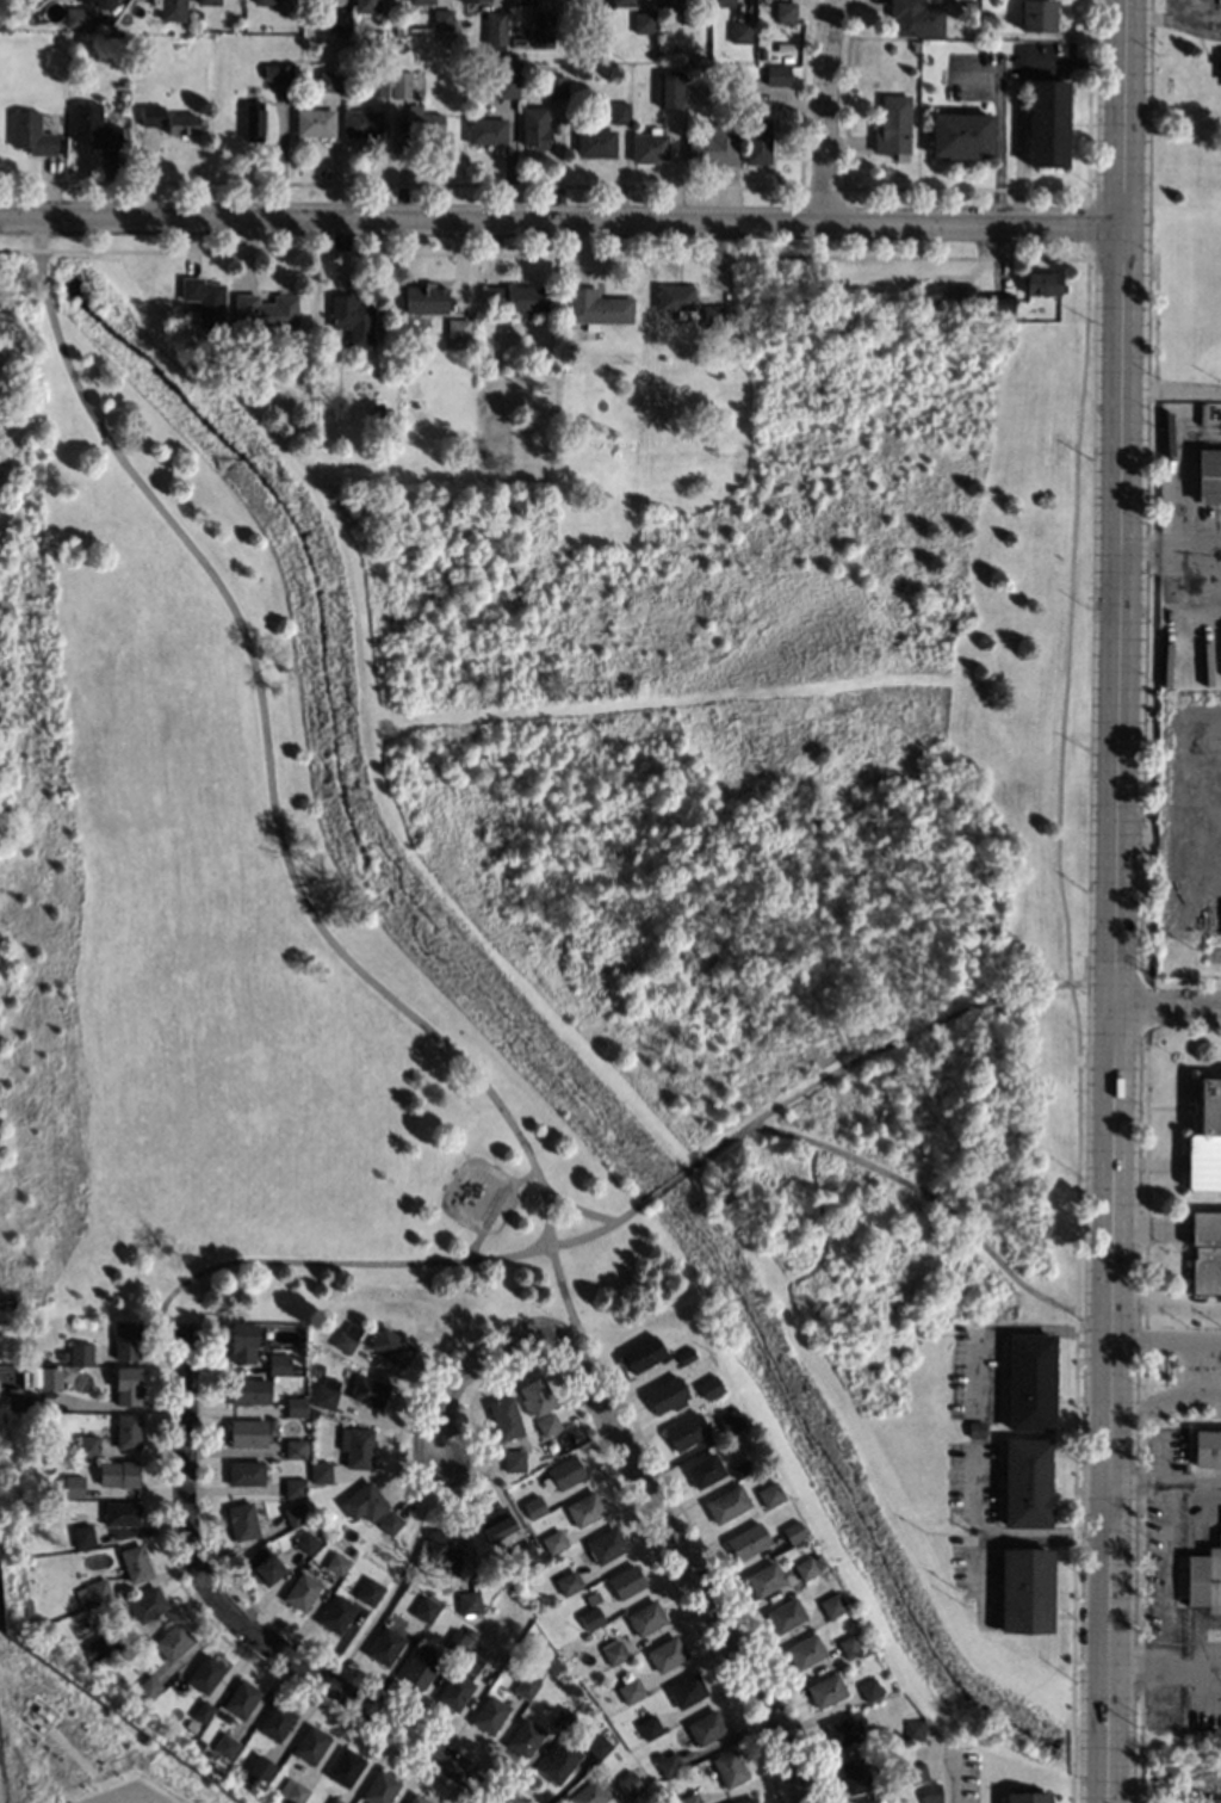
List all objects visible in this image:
building: (318, 0)
building: (475, 0)
building: (82, 1)
building: (207, 1)
building: (265, 1)
building: (420, 1)
building: (101, 2)
building: (521, 2)
building: (621, 2)
building: (669, 2)
building: (720, 2)
building: (968, 2)
building: (365, 5)
building: (172, 10)
building: (785, 11)
building: (197, 14)
building: (985, 14)
building: (1036, 14)
building: (75, 17)
building: (337, 18)
building: (441, 18)
building: (694, 18)
building: (916, 18)
building: (642, 21)
building: (595, 24)
building: (495, 26)
building: (397, 30)
building: (541, 30)
building: (739, 32)
building: (517, 42)
building: (915, 45)
building: (401, 47)
building: (762, 54)
building: (926, 58)
building: (278, 72)
building: (777, 75)
building: (329, 80)
building: (401, 84)
building: (506, 85)
building: (377, 86)
building: (554, 87)
building: (671, 89)
road: (822, 110)
building: (620, 112)
building: (253, 113)
building: (150, 115)
building: (424, 121)
building: (315, 122)
building: (182, 123)
building: (362, 123)
building: (1046, 123)
building: (93, 125)
building: (892, 126)
building: (534, 128)
building: (486, 130)
building: (31, 132)
road: (999, 132)
building: (960, 135)
building: (757, 141)
building: (595, 143)
building: (649, 146)
building: (713, 146)
road: (494, 184)
road: (822, 186)
road: (965, 186)
road: (560, 220)
road: (1086, 223)
building: (1043, 282)
building: (946, 292)
building: (515, 296)
building: (674, 296)
building: (424, 298)
building: (205, 301)
building: (1000, 302)
building: (596, 307)
building: (265, 310)
building: (711, 316)
building: (352, 319)
building: (457, 329)
building: (719, 350)
building: (401, 372)
road: (1170, 382)
building: (377, 409)
road: (1179, 474)
building: (1208, 475)
road: (1198, 547)
road: (1146, 548)
road: (1061, 723)
road: (273, 803)
park: (557, 851)
road: (1114, 901)
road: (1167, 1007)
road: (890, 1044)
building: (1205, 1138)
road: (667, 1184)
road: (455, 1185)
road: (921, 1188)
road: (579, 1208)
building: (1205, 1252)
road: (395, 1261)
road: (172, 1320)
road: (1008, 1327)
building: (185, 1329)
road: (1165, 1336)
building: (126, 1339)
building: (242, 1341)
building: (343, 1341)
building: (390, 1346)
building: (80, 1353)
building: (640, 1353)
building: (62, 1356)
building: (686, 1356)
building: (278, 1364)
building: (317, 1369)
building: (50, 1378)
building: (1030, 1381)
building: (126, 1384)
building: (709, 1387)
building: (248, 1390)
building: (368, 1391)
building: (326, 1393)
building: (665, 1395)
building: (535, 1396)
building: (13, 1397)
road: (1164, 1397)
building: (295, 1407)
building: (312, 1412)
building: (504, 1416)
building: (729, 1420)
building: (547, 1424)
building: (975, 1428)
building: (128, 1431)
building: (687, 1431)
building: (247, 1432)
building: (88, 1446)
building: (357, 1446)
building: (1207, 1447)
building: (295, 1449)
road: (185, 1456)
building: (513, 1461)
building: (739, 1468)
building: (704, 1469)
building: (320, 1471)
building: (118, 1472)
building: (244, 1472)
building: (563, 1472)
road: (1164, 1480)
road: (633, 1481)
building: (1025, 1481)
building: (74, 1487)
building: (295, 1488)
building: (770, 1495)
road: (1073, 1495)
building: (364, 1501)
building: (726, 1502)
building: (533, 1506)
building: (584, 1508)
building: (120, 1512)
building: (296, 1513)
building: (329, 1513)
building: (242, 1520)
building: (389, 1521)
building: (495, 1525)
building: (793, 1531)
building: (82, 1535)
building: (553, 1540)
building: (748, 1540)
building: (306, 1542)
building: (606, 1544)
building: (445, 1545)
road: (1004, 1545)
building: (525, 1554)
building: (135, 1562)
building: (336, 1563)
building: (265, 1566)
building: (805, 1567)
road: (399, 1575)
building: (764, 1577)
building: (1204, 1580)
building: (625, 1581)
building: (568, 1582)
building: (98, 1589)
building: (1024, 1589)
building: (302, 1591)
building: (370, 1591)
building: (467, 1603)
building: (148, 1604)
building: (832, 1604)
building: (424, 1609)
building: (336, 1613)
building: (401, 1614)
building: (785, 1614)
building: (590, 1617)
building: (645, 1617)
building: (458, 1638)
building: (173, 1641)
building: (385, 1645)
building: (849, 1645)
building: (100, 1647)
building: (612, 1650)
building: (805, 1650)
building: (665, 1653)
building: (86, 1660)
building: (421, 1665)
road: (1163, 1672)
building: (206, 1673)
building: (460, 1681)
building: (148, 1686)
building: (525, 1686)
building: (869, 1688)
building: (630, 1690)
building: (686, 1690)
building: (825, 1690)
road: (348, 1697)
building: (242, 1698)
building: (203, 1711)
building: (489, 1715)
building: (562, 1717)
building: (277, 1721)
building: (649, 1727)
building: (706, 1727)
building: (843, 1729)
building: (913, 1729)
building: (682, 1734)
building: (525, 1739)
building: (311, 1743)
building: (224, 1746)
building: (599, 1747)
building: (559, 1761)
building: (668, 1764)
building: (346, 1766)
road: (947, 1766)
building: (729, 1767)
building: (261, 1768)
building: (916, 1772)
building: (855, 1773)
building: (249, 1780)
building: (630, 1784)
building: (380, 1787)
building: (293, 1791)
building: (929, 1792)
parking lot: (128, 1793)
road: (130, 1793)
building: (588, 1793)
building: (689, 1797)
building: (1025, 1797)
building: (416, 1798)
road: (148, 1799)
building: (335, 1801)
building: (745, 1801)
road: (808, 1801)
building: (864, 1801)

